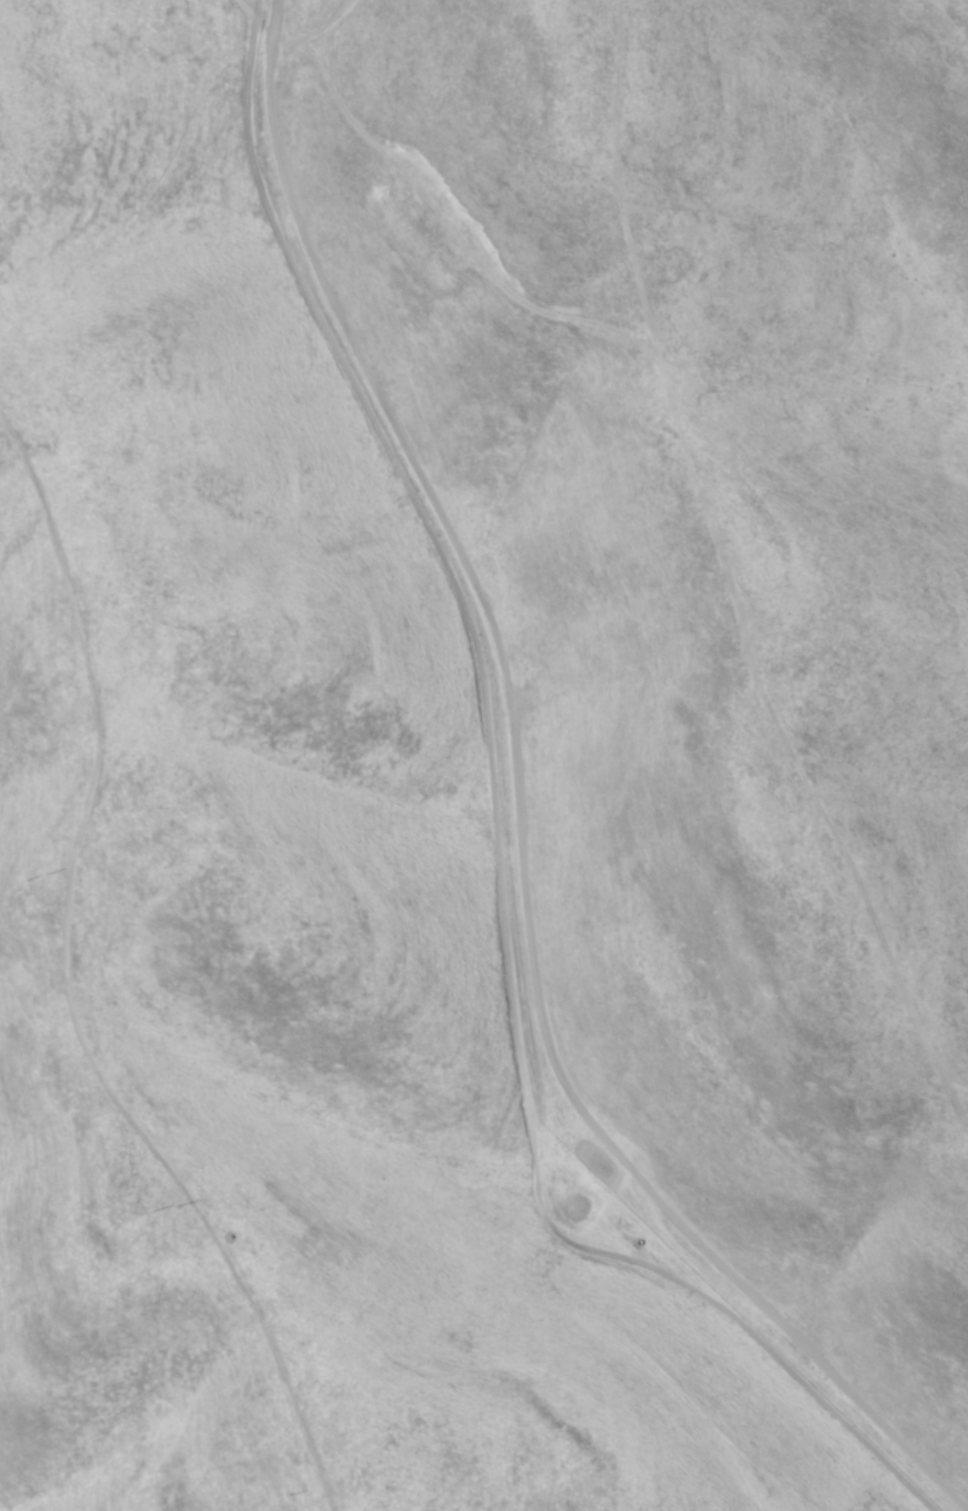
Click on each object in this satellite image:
road: (450, 798)

